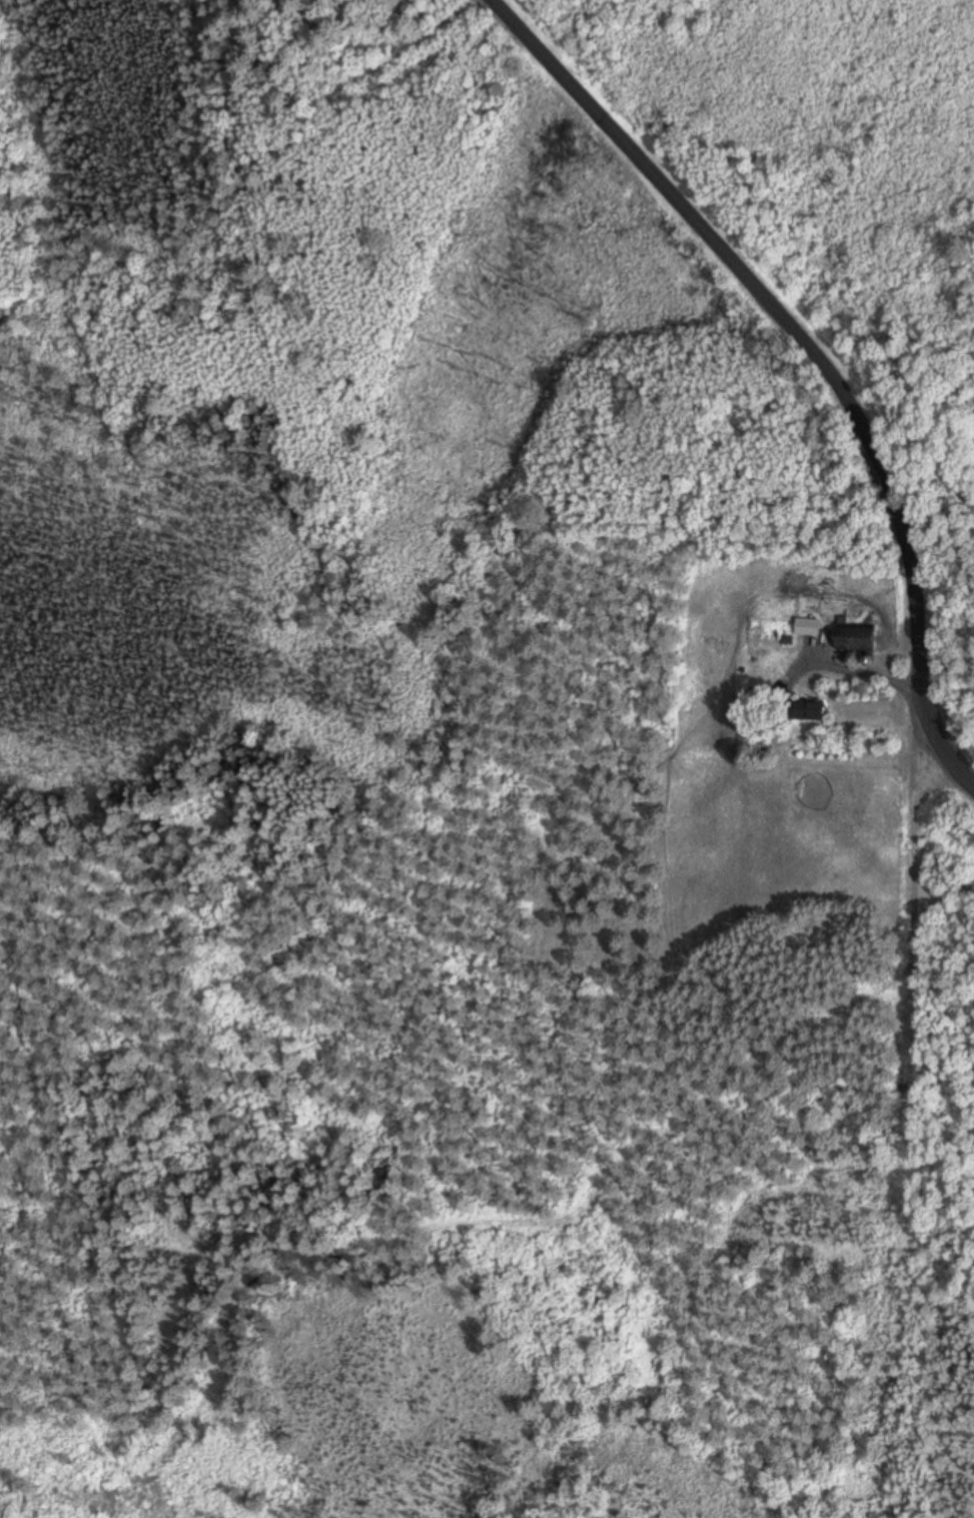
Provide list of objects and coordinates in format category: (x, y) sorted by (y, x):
road: (806, 348)
building: (808, 628)
building: (857, 638)
building: (809, 711)

